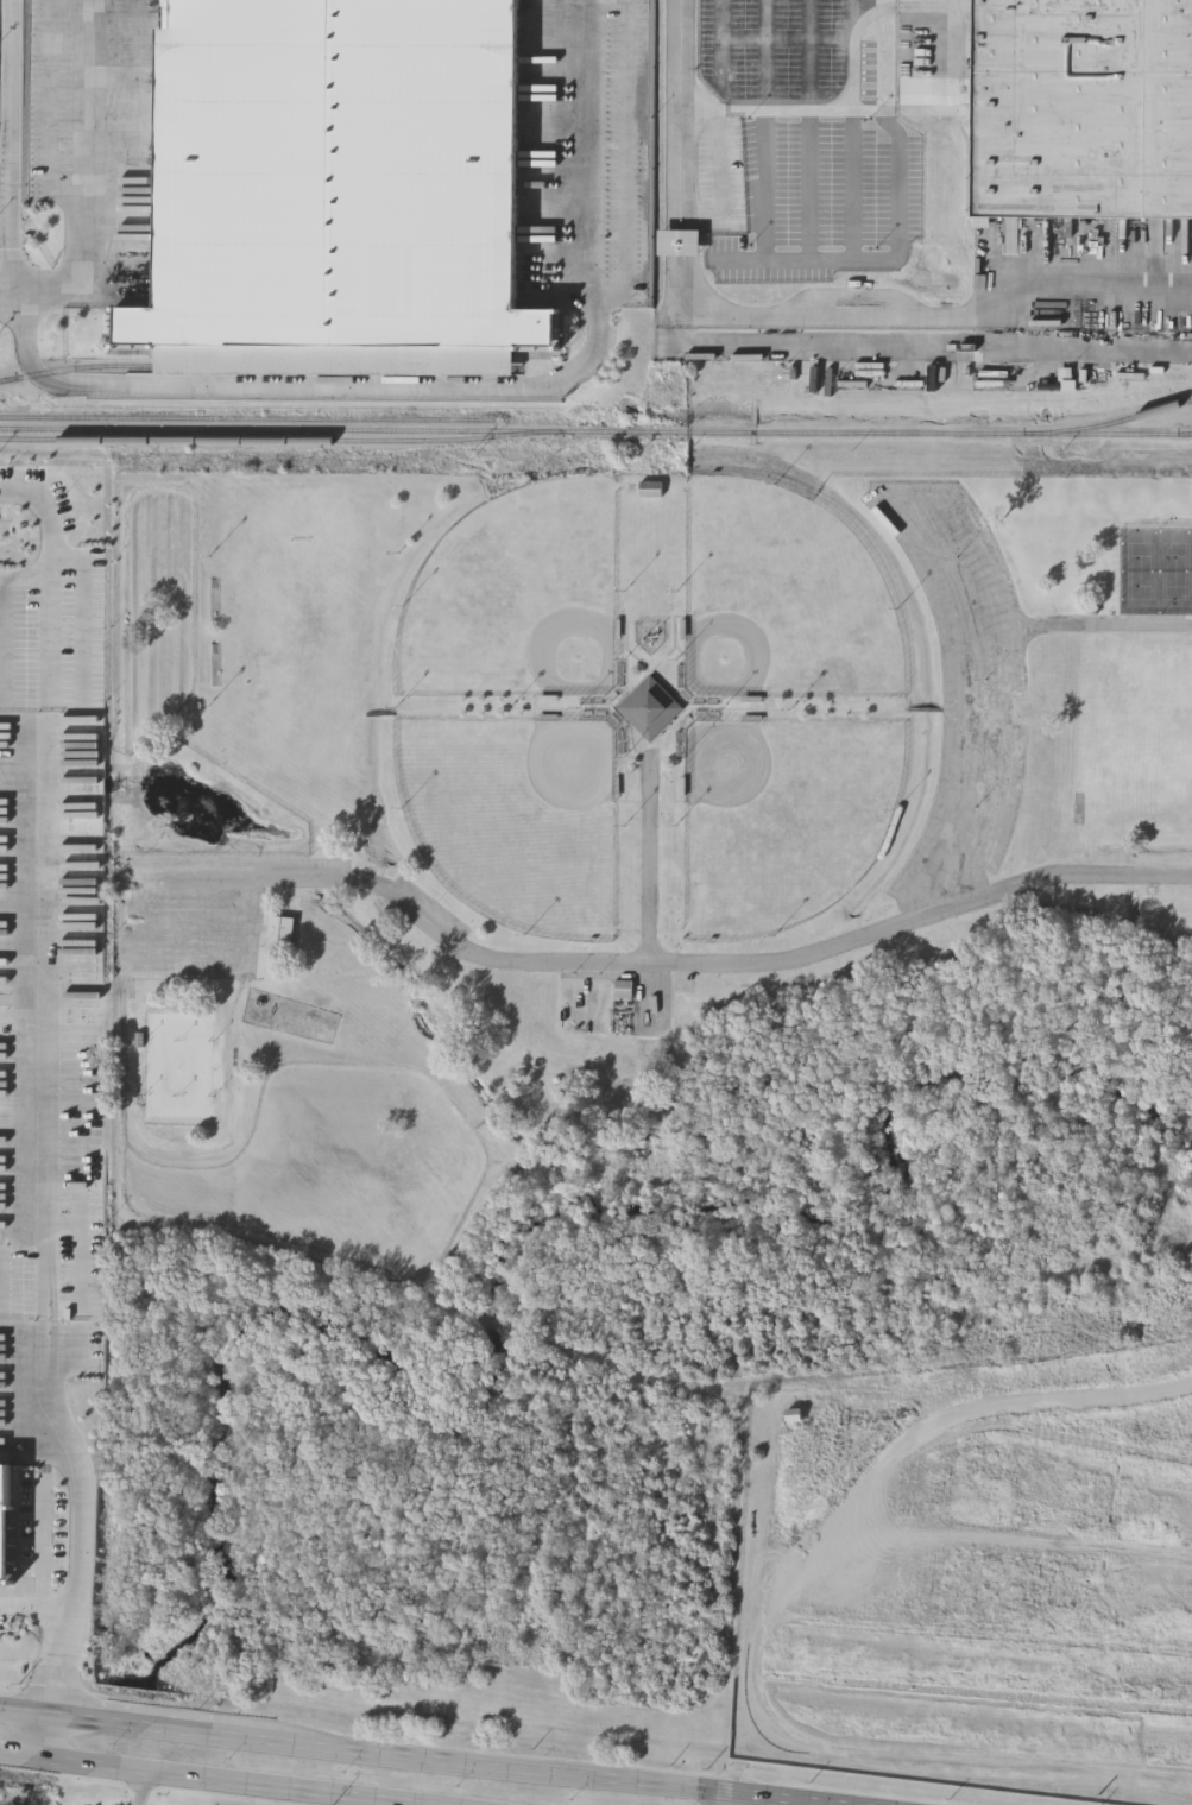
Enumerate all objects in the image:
road: (725, 38)
road: (8, 82)
road: (768, 107)
building: (1083, 108)
road: (630, 160)
building: (346, 168)
road: (83, 171)
road: (685, 173)
road: (811, 184)
road: (897, 190)
road: (10, 231)
building: (683, 245)
road: (809, 261)
road: (941, 311)
road: (936, 351)
railway: (254, 364)
road: (459, 387)
railway: (247, 414)
railway: (1109, 419)
railway: (370, 429)
railway: (966, 431)
railway: (277, 438)
building: (654, 491)
park: (1137, 568)
park: (1174, 568)
park: (516, 595)
park: (783, 595)
building: (654, 639)
building: (649, 705)
park: (585, 788)
park: (517, 814)
park: (783, 816)
road: (651, 856)
building: (284, 936)
road: (682, 959)
building: (627, 991)
road: (33, 1054)
building: (181, 1078)
road: (978, 1415)
building: (6, 1523)
road: (59, 1627)
road: (23, 1709)
road: (162, 1724)
road: (40, 1734)
road: (18, 1754)
road: (503, 1766)
road: (225, 1780)
road: (138, 1787)
road: (725, 1799)
road: (774, 1799)

